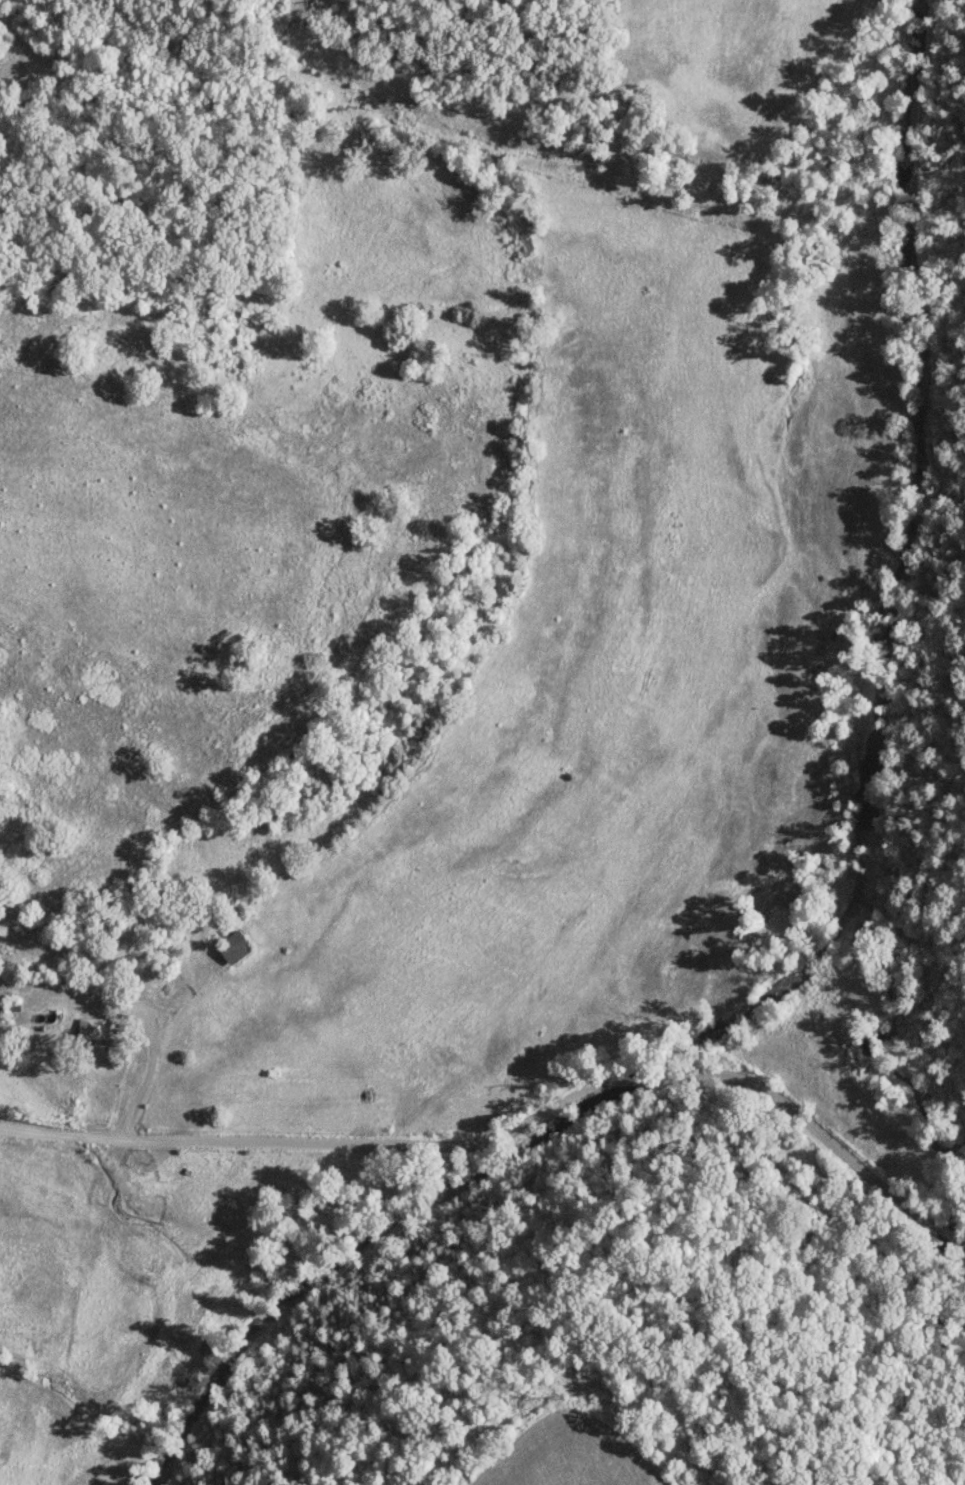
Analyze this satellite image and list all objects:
building: (235, 947)
building: (94, 1027)
road: (516, 1127)

